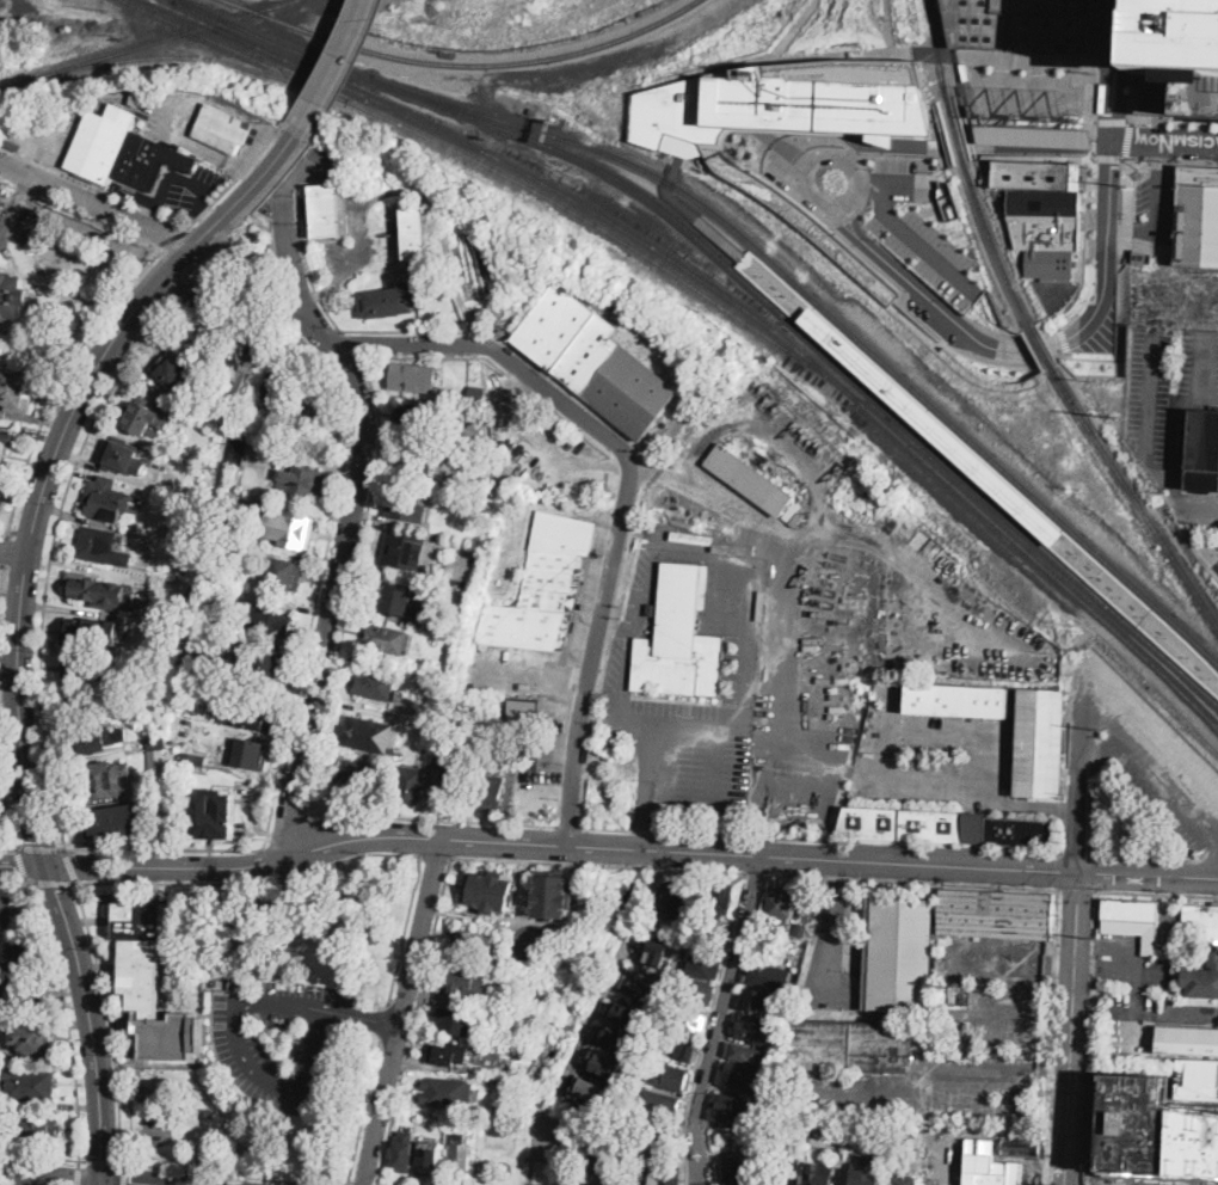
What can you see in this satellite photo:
railway: (129, 2)
railway: (158, 2)
railway: (241, 6)
building: (110, 16)
building: (1020, 25)
building: (64, 29)
railway: (221, 30)
railway: (275, 41)
railway: (143, 43)
road: (953, 48)
railway: (940, 49)
railway: (193, 55)
building: (1180, 57)
parking garage: (1180, 57)
road: (1134, 61)
railway: (478, 62)
road: (322, 63)
road: (337, 66)
road: (1094, 67)
road: (351, 68)
road: (1115, 70)
road: (1137, 76)
road: (1171, 81)
road: (1177, 91)
building: (139, 96)
road: (1090, 96)
road: (1151, 100)
road: (1176, 113)
road: (1170, 118)
road: (979, 119)
road: (1111, 119)
building: (787, 123)
road: (1174, 123)
road: (976, 125)
building: (223, 128)
road: (972, 129)
road: (805, 130)
railway: (958, 131)
road: (882, 134)
road: (1033, 135)
building: (1034, 135)
road: (936, 136)
road: (1091, 136)
road: (853, 137)
road: (884, 139)
road: (1128, 139)
railway: (576, 141)
road: (937, 141)
road: (835, 142)
road: (1091, 142)
building: (13, 143)
building: (100, 143)
road: (1035, 143)
road: (1103, 143)
road: (1164, 143)
road: (762, 147)
road: (770, 149)
road: (1091, 152)
road: (1107, 156)
building: (148, 161)
road: (1170, 162)
building: (367, 164)
building: (988, 164)
railway: (511, 174)
road: (177, 176)
road: (236, 176)
road: (93, 184)
road: (801, 185)
road: (899, 185)
parking lot: (180, 190)
parking lot: (1157, 202)
road: (94, 204)
road: (1128, 204)
road: (1155, 207)
road: (250, 208)
building: (326, 210)
building: (1044, 213)
road: (80, 215)
building: (1198, 216)
road: (264, 225)
building: (416, 233)
road: (289, 238)
road: (172, 240)
road: (922, 241)
road: (275, 246)
railway: (996, 246)
road: (1087, 247)
road: (1107, 248)
power tower: (1125, 248)
park: (242, 252)
railway: (737, 263)
road: (235, 277)
road: (899, 291)
building: (12, 296)
road: (173, 296)
building: (381, 303)
road: (937, 307)
road: (336, 324)
railway: (774, 327)
road: (1062, 338)
road: (837, 342)
road: (350, 344)
road: (395, 344)
road: (842, 346)
railway: (1040, 346)
railway: (822, 348)
road: (470, 357)
road: (1093, 357)
building: (246, 360)
building: (593, 361)
building: (178, 373)
building: (414, 377)
road: (62, 382)
building: (278, 382)
building: (17, 391)
parking lot: (1168, 392)
building: (476, 394)
road: (1179, 395)
road: (1211, 398)
building: (308, 407)
building: (256, 413)
building: (148, 416)
road: (229, 419)
building: (413, 419)
road: (929, 420)
road: (1148, 424)
building: (5, 443)
building: (236, 449)
building: (1204, 449)
railway: (989, 454)
road: (54, 458)
building: (124, 459)
building: (412, 459)
building: (749, 479)
building: (302, 480)
building: (0, 491)
road: (66, 491)
road: (1201, 492)
railway: (1133, 496)
building: (106, 499)
building: (405, 505)
road: (1195, 506)
building: (791, 510)
building: (293, 528)
road: (8, 530)
road: (1198, 530)
road: (36, 534)
building: (93, 544)
power tower: (1111, 547)
building: (407, 551)
road: (13, 552)
road: (5, 554)
road: (1198, 554)
parking lot: (1216, 565)
road: (1, 569)
road: (25, 572)
building: (285, 573)
road: (1, 577)
road: (353, 587)
building: (86, 588)
building: (542, 588)
road: (334, 598)
building: (394, 600)
building: (269, 622)
building: (80, 631)
building: (681, 636)
building: (388, 639)
road: (596, 640)
building: (260, 659)
building: (201, 662)
building: (82, 668)
building: (475, 682)
building: (376, 684)
road: (296, 688)
building: (956, 701)
building: (87, 708)
building: (523, 713)
building: (250, 714)
railway: (1207, 716)
building: (404, 717)
road: (1096, 718)
power tower: (1102, 727)
building: (457, 731)
road: (882, 731)
building: (370, 735)
building: (465, 737)
building: (97, 739)
building: (154, 742)
building: (1039, 742)
road: (1107, 744)
building: (251, 751)
building: (529, 751)
building: (191, 757)
parking lot: (935, 757)
building: (156, 759)
building: (355, 775)
building: (104, 780)
road: (1083, 780)
road: (1161, 782)
building: (410, 785)
building: (442, 785)
building: (490, 793)
road: (6, 796)
road: (1201, 798)
road: (1029, 804)
building: (210, 806)
building: (210, 815)
road: (430, 817)
building: (118, 823)
road: (567, 825)
building: (945, 827)
road: (283, 828)
road: (676, 830)
road: (302, 840)
road: (561, 842)
road: (913, 845)
road: (8, 846)
road: (39, 847)
road: (1077, 853)
road: (437, 854)
road: (768, 854)
road: (1149, 856)
road: (21, 864)
road: (24, 865)
road: (69, 865)
road: (601, 865)
road: (1058, 871)
road: (1099, 872)
road: (1148, 872)
road: (758, 873)
road: (14, 879)
road: (53, 880)
road: (252, 883)
road: (762, 886)
road: (1077, 889)
building: (488, 890)
building: (701, 891)
building: (552, 892)
road: (1158, 892)
building: (672, 898)
building: (722, 901)
building: (779, 905)
building: (6, 911)
building: (996, 914)
road: (835, 919)
building: (1132, 921)
building: (644, 927)
road: (402, 928)
power tower: (1093, 935)
building: (713, 941)
building: (469, 944)
building: (143, 951)
building: (659, 952)
building: (898, 954)
building: (1212, 956)
building: (13, 957)
road: (1028, 957)
building: (703, 965)
building: (763, 976)
building: (467, 982)
building: (639, 987)
building: (700, 990)
building: (20, 991)
building: (953, 993)
building: (759, 1003)
building: (494, 1006)
road: (404, 1011)
road: (1146, 1012)
building: (627, 1013)
road: (362, 1017)
road: (721, 1018)
road: (92, 1019)
road: (112, 1019)
road: (69, 1020)
road: (414, 1020)
road: (385, 1021)
building: (455, 1021)
building: (691, 1023)
road: (709, 1027)
road: (1074, 1027)
building: (751, 1029)
building: (966, 1029)
road: (582, 1034)
building: (615, 1036)
road: (1051, 1036)
building: (921, 1037)
road: (1090, 1037)
building: (30, 1040)
parking lot: (284, 1040)
building: (1187, 1040)
building: (682, 1045)
building: (744, 1054)
building: (843, 1054)
building: (448, 1055)
road: (247, 1061)
building: (604, 1063)
road: (997, 1064)
building: (737, 1076)
building: (765, 1076)
building: (673, 1079)
building: (1197, 1079)
building: (29, 1086)
building: (591, 1087)
building: (447, 1093)
building: (660, 1098)
building: (823, 1106)
building: (726, 1109)
road: (364, 1112)
building: (585, 1128)
building: (662, 1128)
building: (767, 1128)
building: (35, 1129)
building: (1158, 1132)
building: (731, 1135)
building: (863, 1136)
building: (756, 1140)
park: (524, 1143)
building: (654, 1147)
building: (404, 1153)
building: (431, 1153)
building: (460, 1154)
road: (43, 1158)
road: (103, 1161)
building: (599, 1169)
building: (991, 1169)
road: (529, 1172)
building: (736, 1172)
road: (125, 1173)
building: (791, 1173)
road: (227, 1174)
building: (818, 1174)
road: (50, 1175)
road: (79, 1175)
building: (662, 1175)
building: (862, 1175)
building: (762, 1179)
building: (904, 1180)
road: (100, 1181)
road: (127, 1181)

